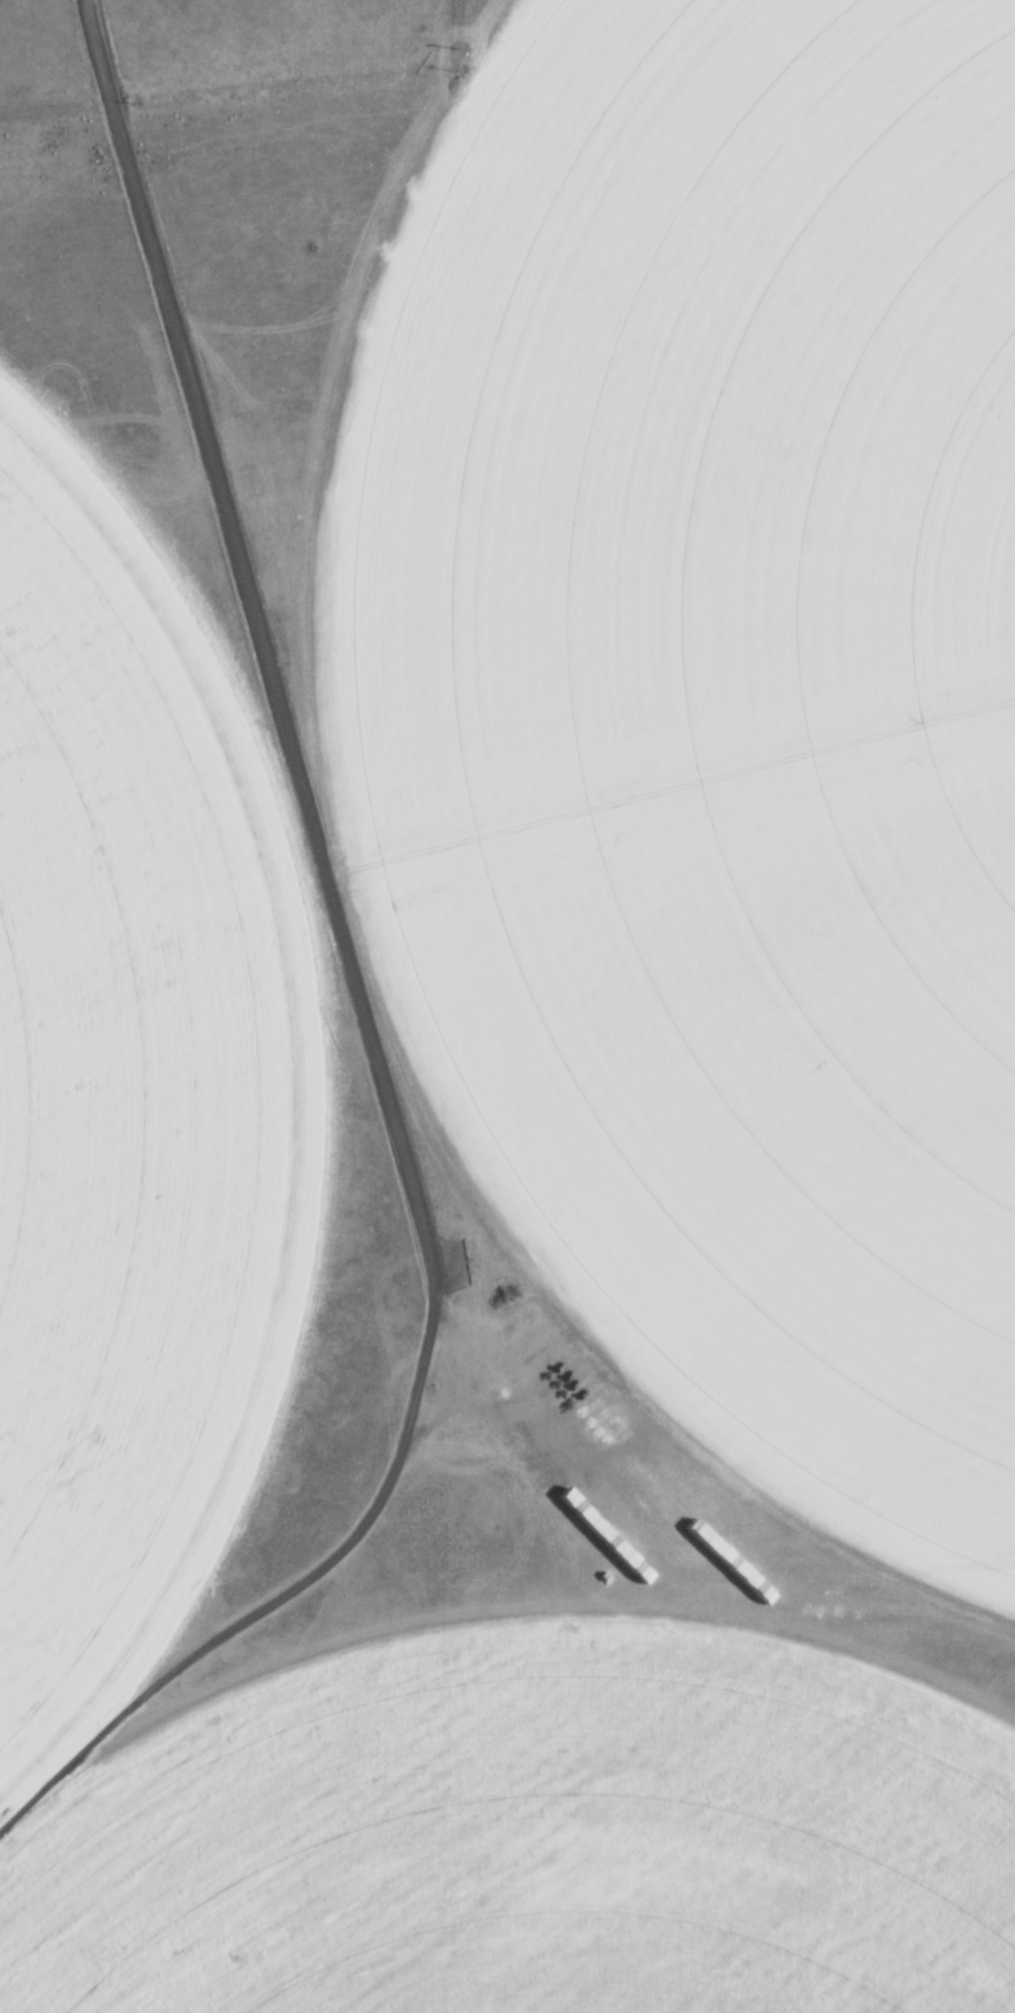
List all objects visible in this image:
road: (355, 988)
road: (459, 1260)
parking lot: (452, 1262)

